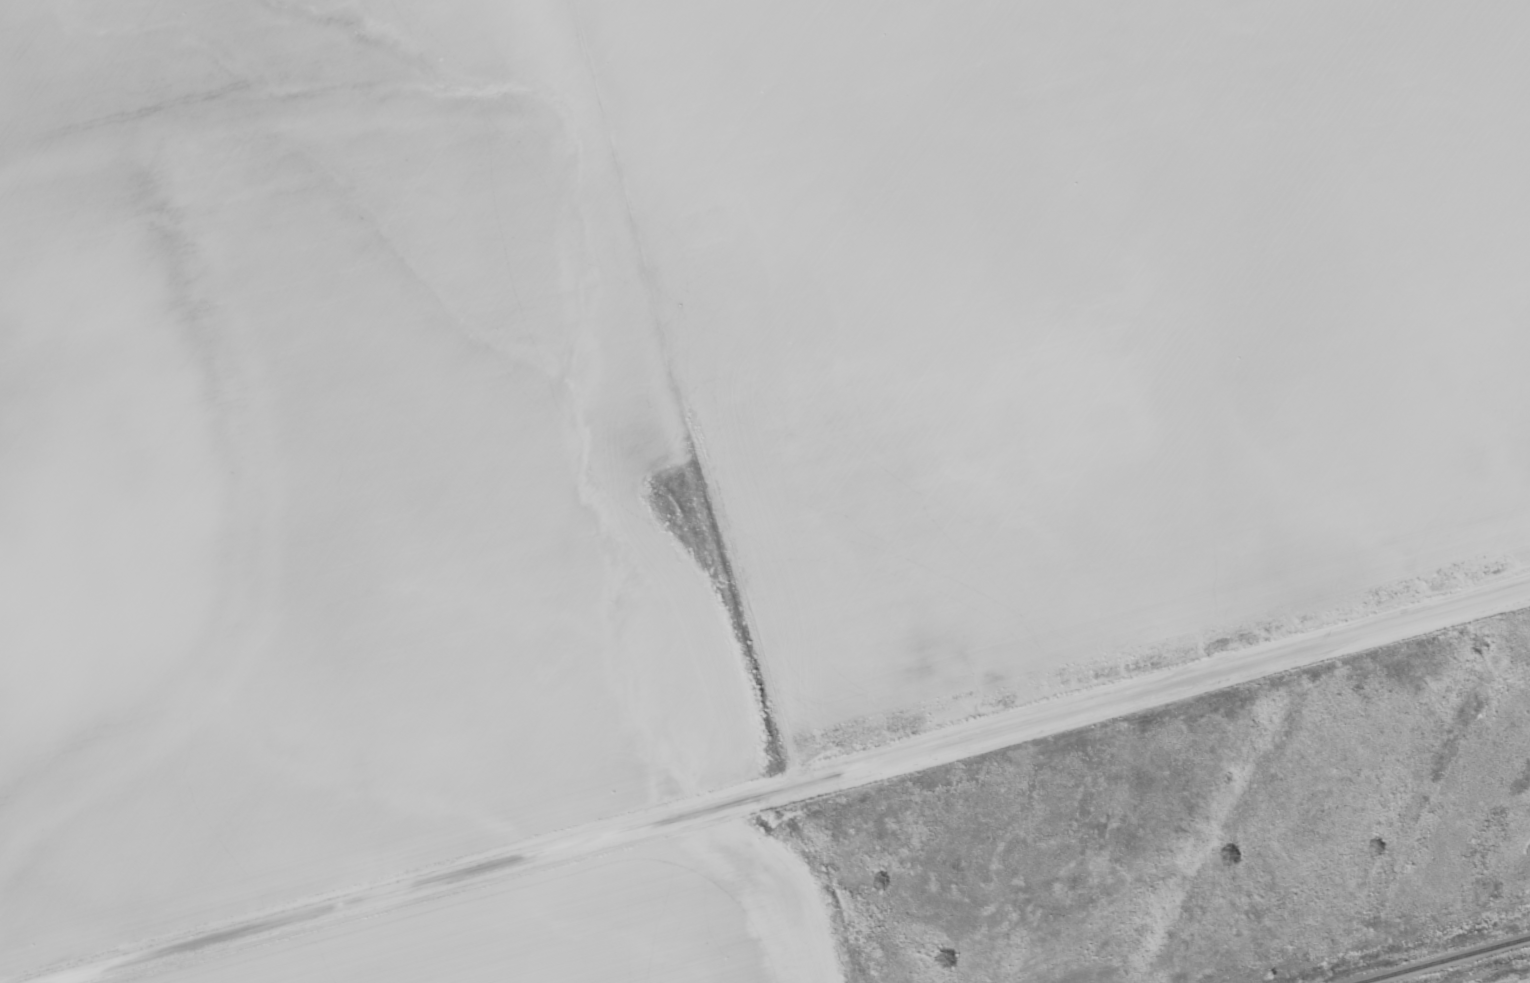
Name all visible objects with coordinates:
road: (787, 790)
railway: (1442, 959)

